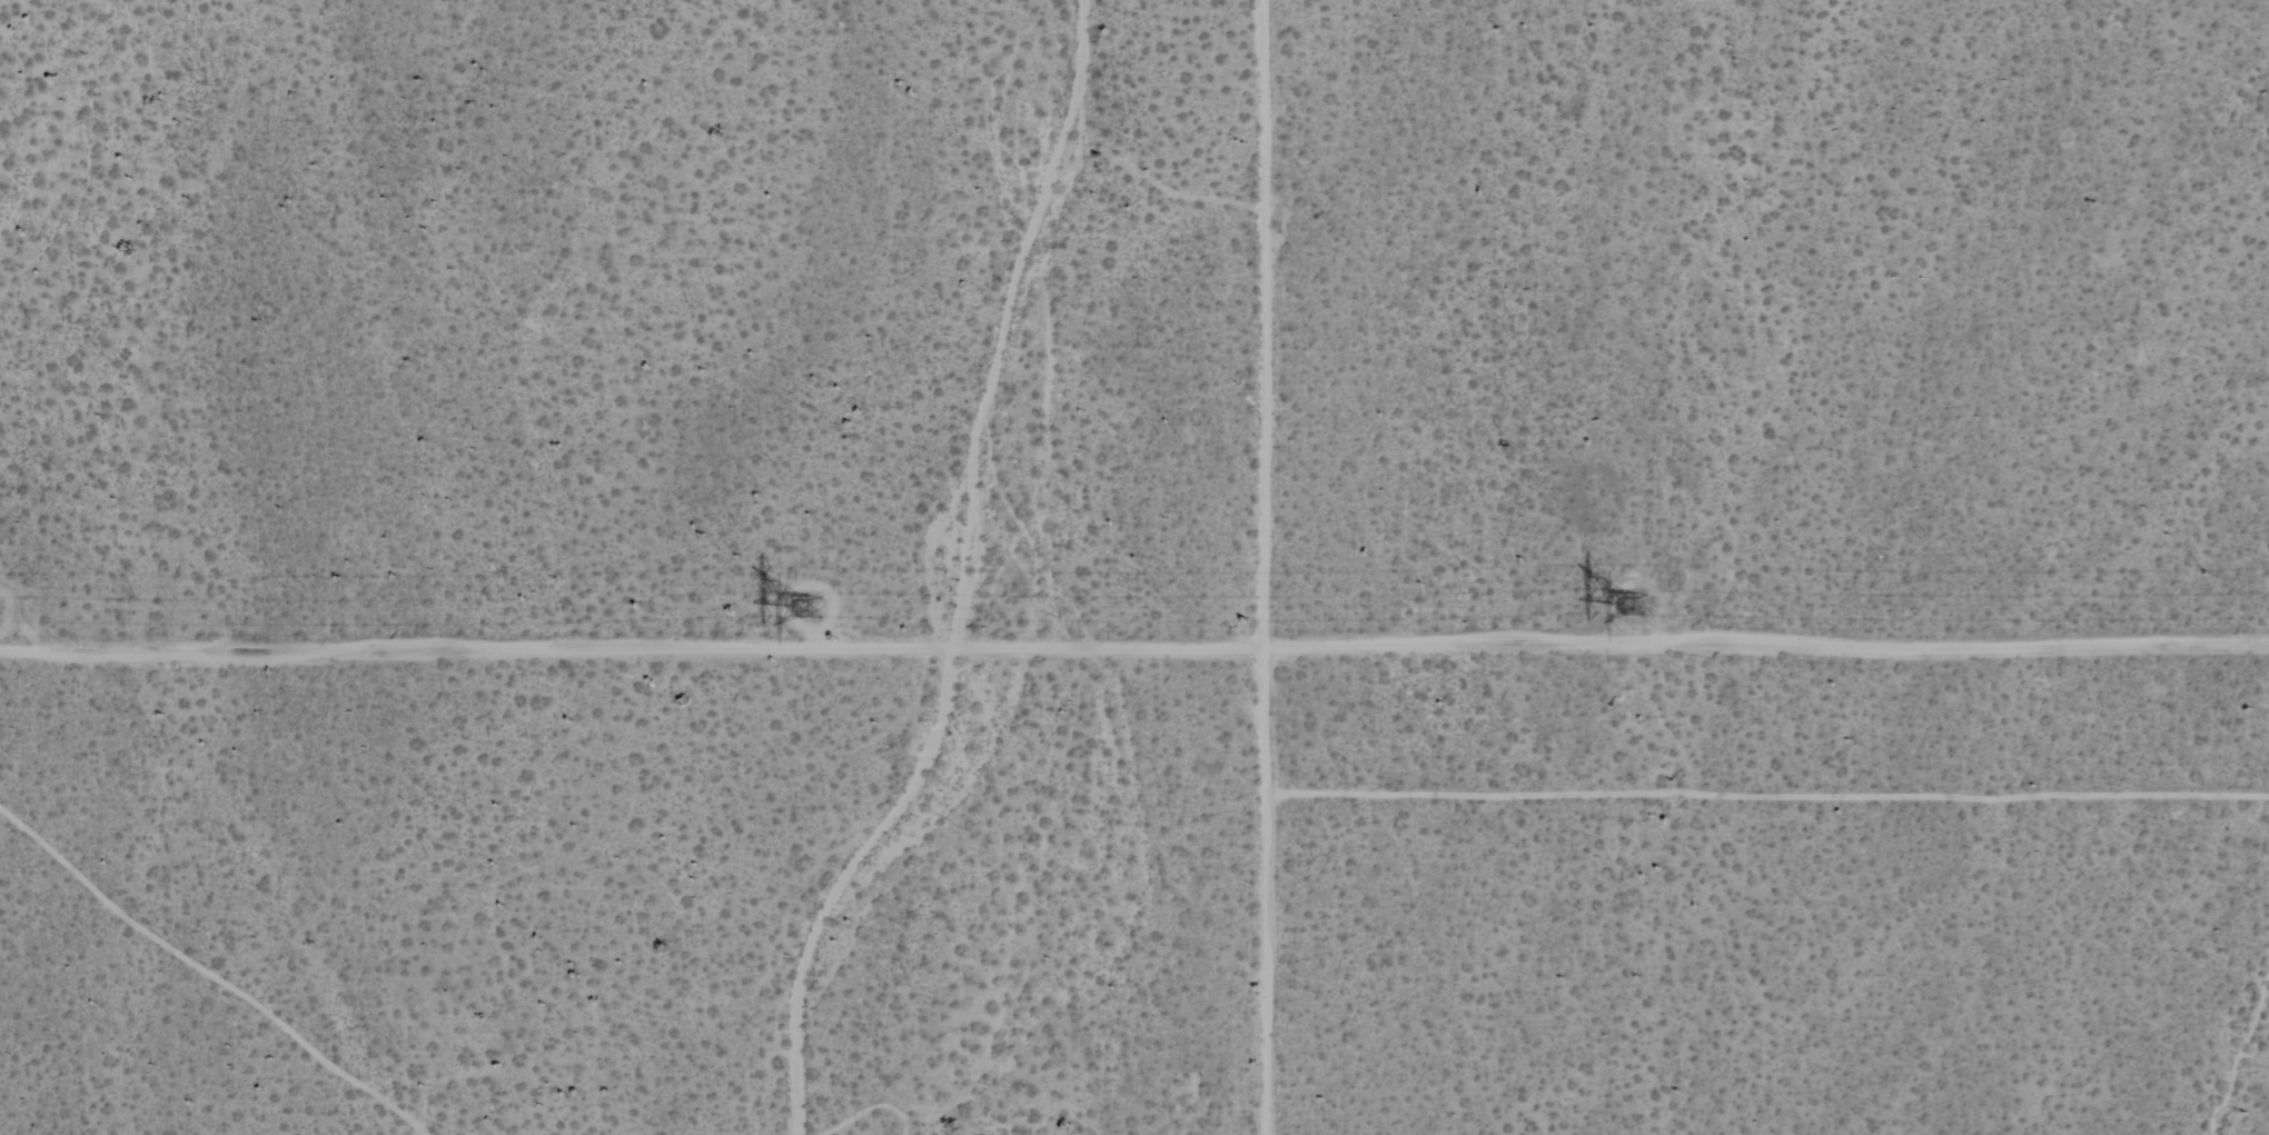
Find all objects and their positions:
road: (1277, 567)
power tower: (1628, 601)
power tower: (813, 605)
road: (1773, 643)

